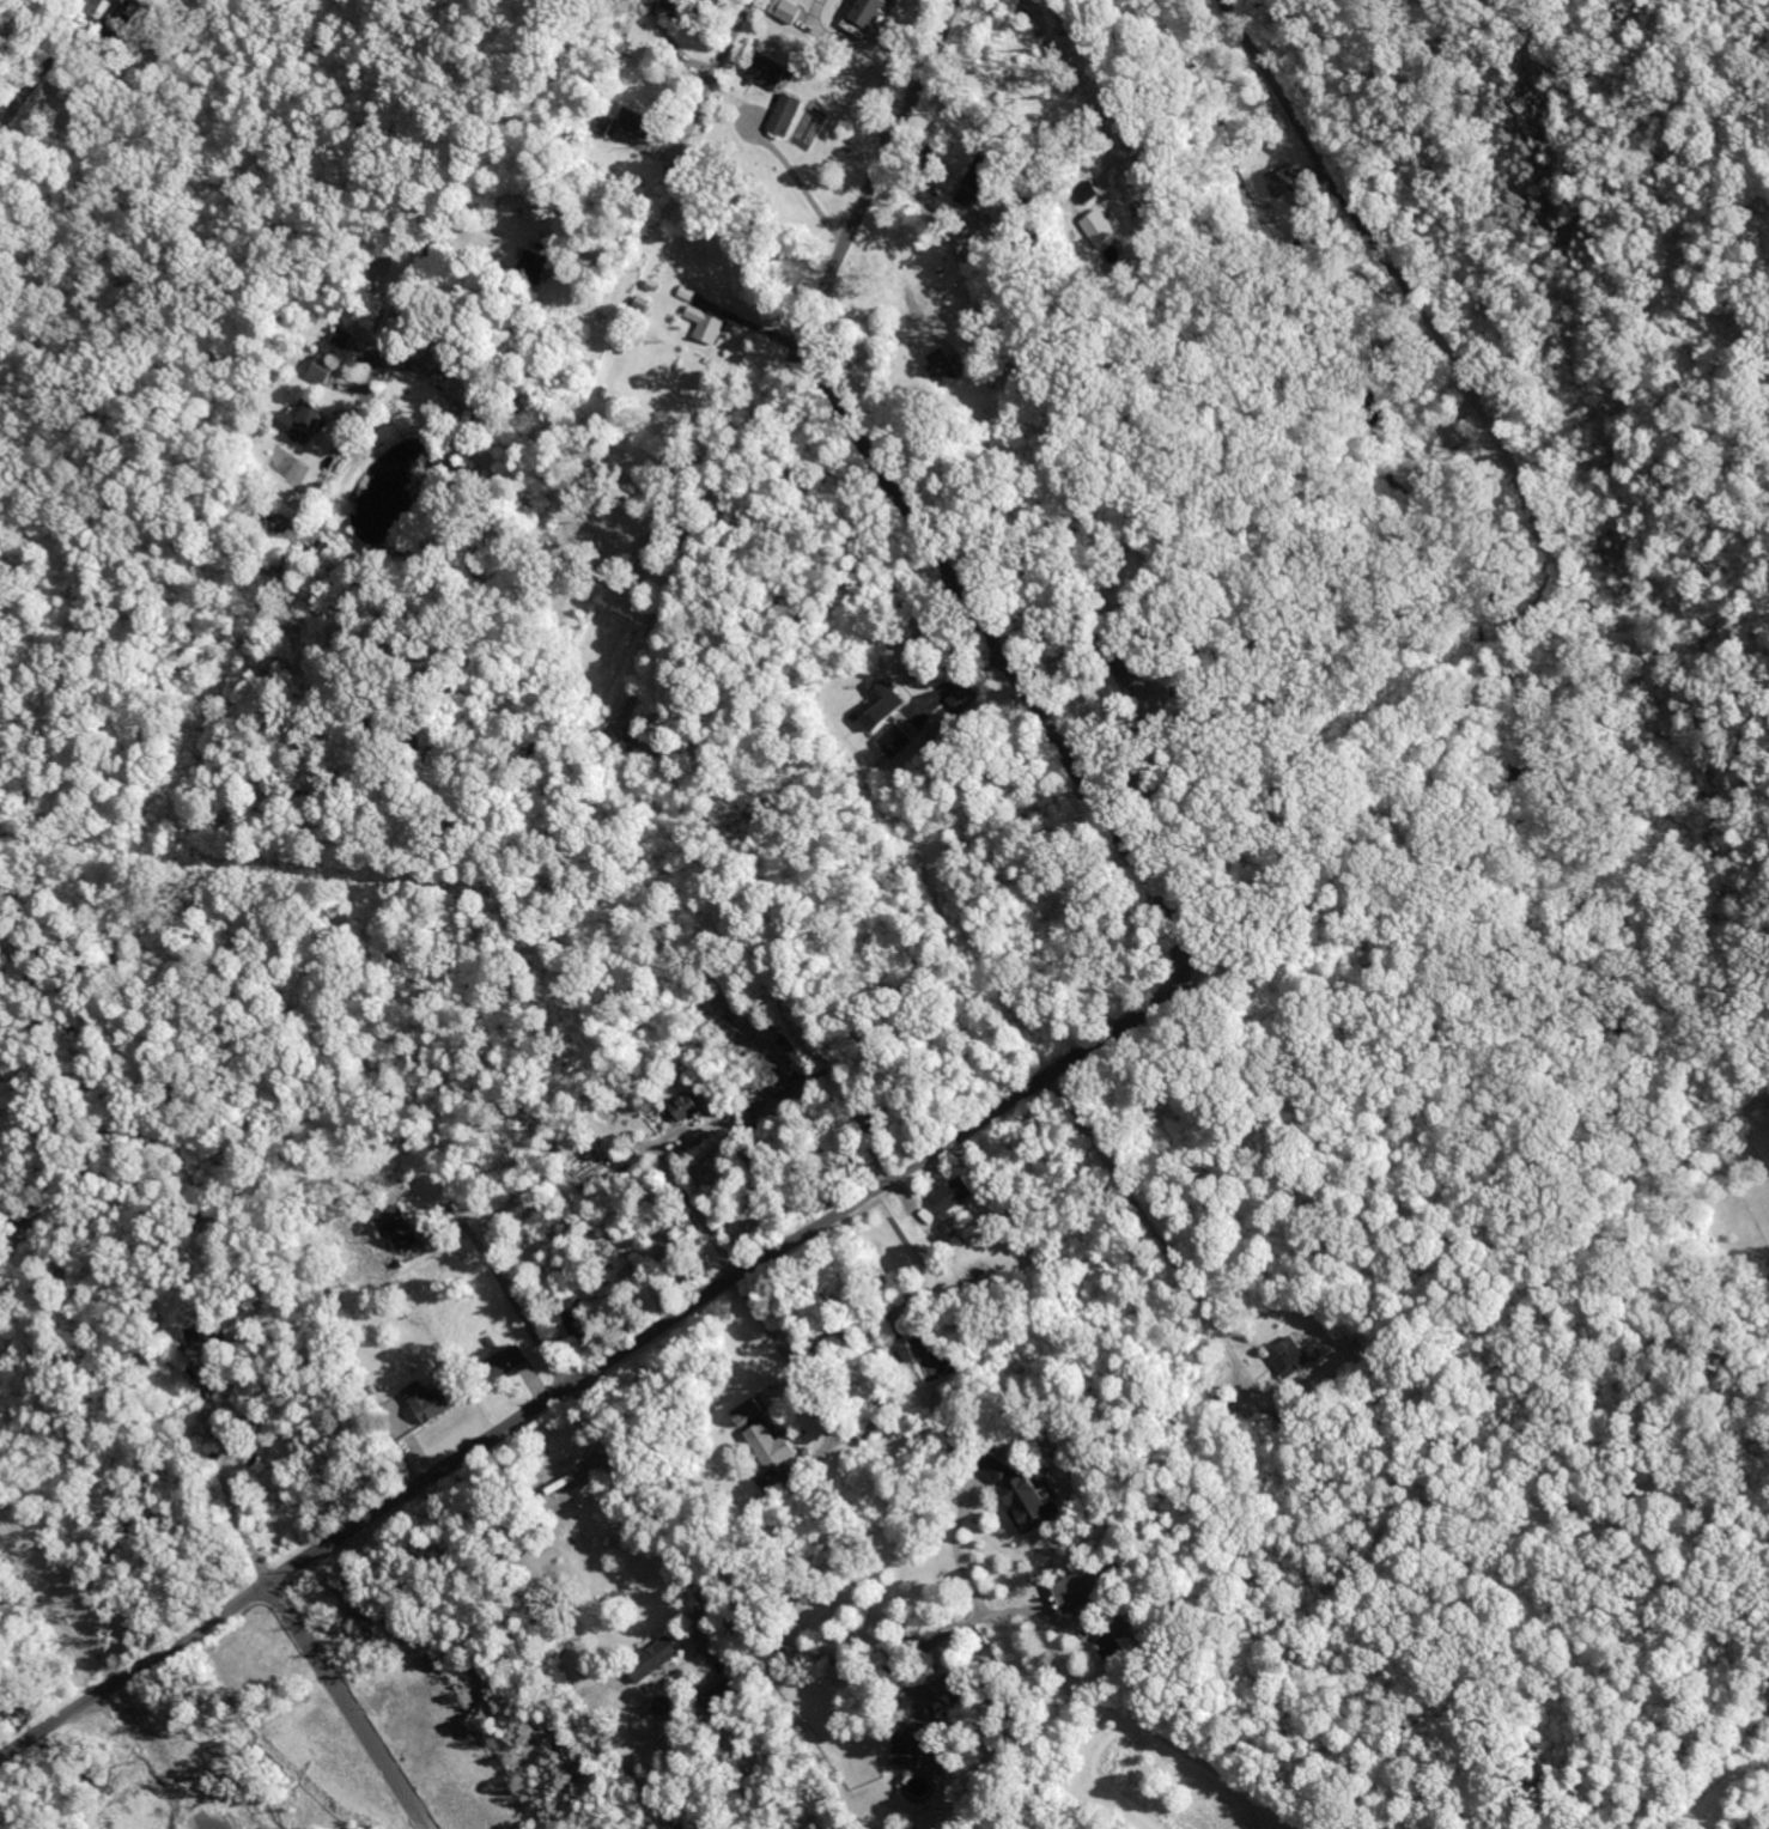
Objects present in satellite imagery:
building: (676, 5)
building: (128, 11)
building: (869, 12)
road: (1075, 60)
building: (766, 69)
road: (47, 71)
road: (718, 73)
building: (785, 113)
building: (636, 121)
building: (602, 123)
road: (797, 178)
building: (1283, 178)
building: (978, 180)
road: (442, 218)
building: (1098, 225)
road: (1368, 236)
building: (533, 263)
building: (705, 322)
building: (344, 336)
road: (875, 350)
road: (794, 356)
building: (943, 366)
building: (323, 367)
building: (300, 420)
building: (1451, 430)
road: (986, 634)
building: (1127, 661)
building: (962, 695)
building: (881, 703)
building: (942, 733)
building: (895, 739)
road: (1065, 1094)
building: (681, 1105)
road: (922, 1159)
building: (952, 1192)
road: (1137, 1205)
road: (700, 1209)
building: (400, 1227)
building: (322, 1288)
road: (512, 1300)
building: (578, 1315)
building: (208, 1336)
building: (492, 1343)
building: (1288, 1354)
building: (170, 1357)
road: (798, 1359)
building: (505, 1363)
building: (400, 1377)
building: (434, 1399)
building: (748, 1410)
road: (165, 1438)
building: (993, 1466)
building: (774, 1476)
building: (565, 1484)
road: (221, 1490)
building: (1029, 1503)
road: (305, 1556)
building: (1080, 1588)
road: (922, 1649)
road: (537, 1653)
building: (655, 1659)
building: (960, 1688)
building: (721, 1697)
road: (357, 1702)
building: (663, 1705)
building: (913, 1743)
building: (938, 1758)
road: (200, 1819)

